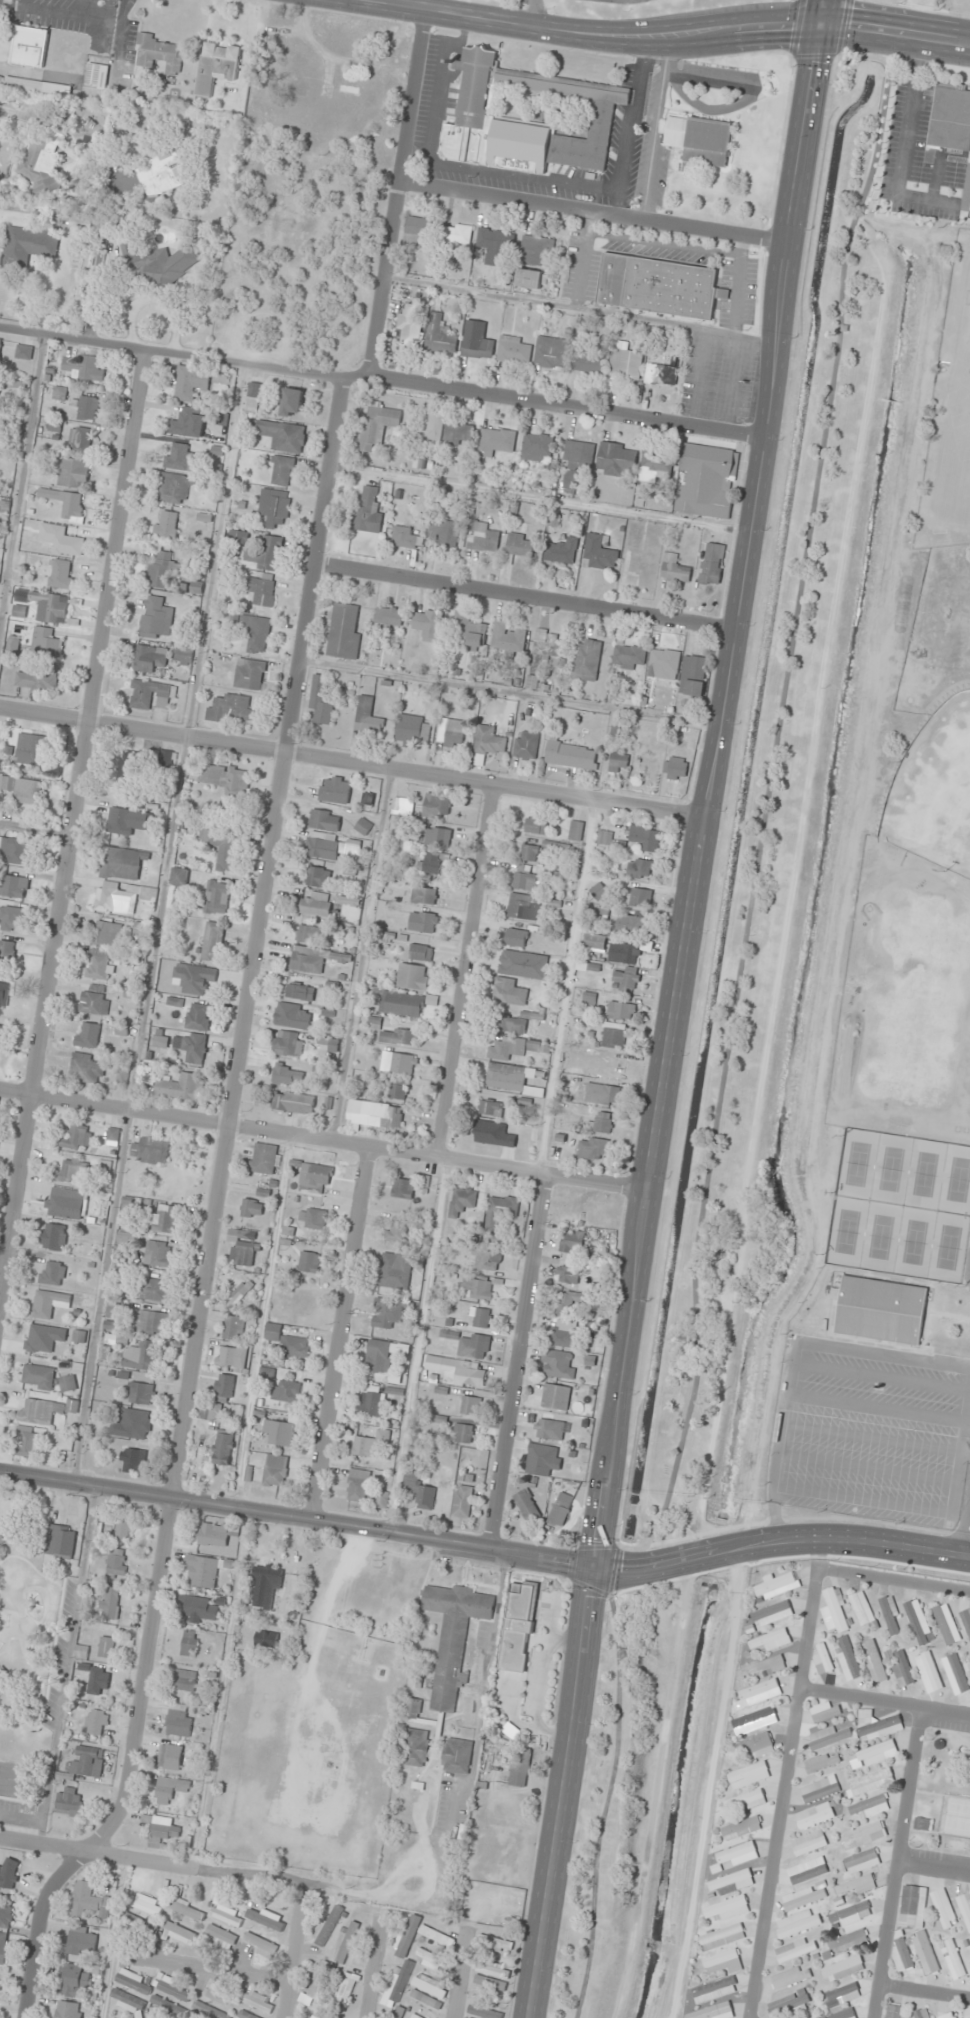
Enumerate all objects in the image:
road: (886, 1)
road: (398, 4)
road: (533, 14)
traffic signals: (819, 28)
road: (842, 29)
road: (657, 39)
building: (30, 48)
building: (158, 54)
road: (867, 57)
building: (217, 66)
building: (97, 75)
building: (950, 117)
building: (529, 118)
building: (699, 141)
building: (42, 171)
building: (164, 172)
road: (398, 196)
road: (596, 214)
building: (417, 233)
building: (457, 235)
building: (28, 246)
building: (496, 246)
building: (537, 251)
building: (161, 262)
building: (529, 279)
building: (658, 286)
building: (410, 327)
building: (440, 336)
building: (477, 341)
building: (0, 344)
building: (515, 349)
building: (24, 352)
building: (551, 352)
building: (587, 362)
building: (626, 364)
building: (86, 368)
building: (661, 374)
road: (383, 381)
building: (192, 382)
building: (60, 394)
building: (253, 397)
building: (292, 403)
building: (89, 407)
building: (189, 423)
building: (378, 425)
building: (459, 432)
building: (283, 436)
building: (81, 440)
building: (498, 441)
building: (537, 447)
building: (179, 457)
building: (575, 459)
building: (617, 459)
building: (657, 467)
building: (282, 471)
building: (74, 473)
road: (21, 475)
building: (706, 481)
building: (174, 488)
building: (67, 503)
building: (274, 508)
building: (368, 511)
building: (554, 518)
building: (167, 524)
building: (445, 533)
building: (405, 537)
building: (483, 538)
building: (62, 542)
building: (521, 545)
building: (270, 553)
building: (600, 553)
building: (711, 564)
building: (675, 568)
building: (164, 570)
building: (61, 574)
building: (262, 591)
road: (526, 594)
building: (52, 607)
building: (390, 617)
building: (156, 619)
building: (428, 624)
building: (468, 630)
building: (344, 631)
building: (256, 633)
building: (507, 640)
building: (46, 642)
building: (547, 649)
building: (182, 656)
building: (630, 657)
building: (150, 659)
building: (587, 660)
building: (665, 661)
building: (250, 674)
building: (36, 681)
building: (692, 681)
building: (150, 695)
building: (321, 702)
building: (230, 708)
building: (368, 716)
building: (414, 729)
building: (452, 733)
building: (490, 741)
building: (527, 745)
building: (32, 750)
building: (573, 755)
building: (167, 759)
building: (619, 762)
road: (353, 764)
building: (675, 768)
building: (127, 769)
building: (226, 778)
road: (711, 784)
building: (22, 790)
building: (335, 791)
park: (934, 791)
building: (369, 798)
road: (765, 803)
building: (404, 804)
building: (437, 806)
building: (325, 820)
building: (126, 821)
road: (73, 823)
building: (536, 825)
building: (577, 831)
road: (35, 833)
building: (439, 838)
building: (646, 838)
building: (607, 839)
building: (324, 846)
building: (223, 849)
building: (14, 850)
building: (530, 853)
building: (121, 863)
building: (433, 863)
building: (640, 869)
building: (180, 877)
building: (319, 878)
building: (525, 880)
building: (14, 887)
building: (599, 892)
building: (425, 896)
building: (217, 898)
building: (641, 898)
building: (126, 899)
building: (350, 901)
building: (316, 904)
building: (521, 906)
building: (11, 919)
building: (424, 922)
road: (157, 924)
building: (632, 924)
building: (107, 933)
building: (311, 935)
building: (517, 938)
building: (213, 941)
building: (595, 944)
building: (7, 953)
building: (422, 953)
building: (624, 954)
building: (315, 960)
building: (524, 965)
building: (100, 968)
road: (469, 971)
building: (413, 976)
building: (195, 978)
building: (627, 979)
building: (509, 992)
building: (4, 993)
building: (301, 993)
building: (94, 1001)
park: (918, 1002)
building: (404, 1005)
building: (622, 1011)
building: (292, 1016)
building: (199, 1018)
building: (509, 1024)
building: (1, 1031)
building: (88, 1035)
building: (398, 1036)
building: (613, 1036)
building: (288, 1044)
building: (191, 1048)
building: (512, 1048)
building: (399, 1063)
building: (85, 1069)
building: (286, 1074)
building: (511, 1079)
building: (178, 1087)
building: (398, 1090)
building: (563, 1093)
building: (602, 1095)
building: (293, 1103)
building: (491, 1108)
building: (375, 1115)
building: (601, 1124)
building: (488, 1133)
building: (113, 1137)
building: (75, 1138)
road: (325, 1140)
building: (594, 1149)
building: (150, 1151)
building: (263, 1159)
building: (104, 1171)
building: (72, 1172)
building: (313, 1177)
building: (403, 1189)
building: (462, 1202)
building: (66, 1204)
park: (900, 1207)
building: (251, 1209)
building: (501, 1210)
road: (214, 1213)
building: (312, 1218)
building: (163, 1222)
building: (396, 1232)
building: (54, 1236)
building: (496, 1241)
building: (572, 1243)
building: (245, 1253)
building: (158, 1254)
building: (486, 1260)
building: (308, 1262)
building: (395, 1271)
building: (968, 1271)
building: (52, 1274)
building: (568, 1274)
building: (239, 1288)
building: (479, 1288)
building: (154, 1291)
building: (49, 1304)
building: (569, 1304)
building: (881, 1310)
building: (479, 1318)
building: (148, 1322)
building: (233, 1328)
road: (342, 1334)
building: (566, 1334)
building: (37, 1338)
building: (286, 1342)
road: (810, 1344)
building: (473, 1346)
building: (141, 1356)
building: (377, 1356)
building: (233, 1358)
road: (522, 1364)
building: (558, 1365)
building: (463, 1374)
road: (878, 1378)
building: (47, 1380)
building: (223, 1388)
building: (285, 1391)
building: (140, 1394)
building: (556, 1397)
building: (370, 1400)
building: (470, 1406)
road: (874, 1408)
building: (42, 1411)
building: (211, 1412)
building: (131, 1425)
building: (549, 1430)
parking lot: (869, 1431)
building: (279, 1432)
building: (463, 1434)
road: (870, 1438)
building: (27, 1443)
building: (363, 1447)
building: (222, 1449)
building: (134, 1460)
building: (542, 1461)
building: (275, 1470)
road: (865, 1470)
building: (358, 1486)
building: (381, 1499)
building: (426, 1499)
building: (462, 1502)
building: (526, 1506)
road: (925, 1510)
building: (559, 1514)
road: (297, 1518)
road: (965, 1522)
building: (122, 1531)
building: (216, 1535)
building: (61, 1541)
road: (781, 1541)
road: (640, 1548)
building: (116, 1565)
traffic signals: (594, 1568)
building: (202, 1571)
road: (613, 1571)
road: (895, 1581)
building: (265, 1585)
building: (776, 1586)
building: (109, 1605)
building: (200, 1607)
building: (863, 1611)
building: (835, 1612)
building: (772, 1614)
building: (891, 1616)
building: (966, 1621)
building: (918, 1622)
building: (946, 1624)
building: (519, 1625)
building: (453, 1636)
building: (266, 1639)
building: (771, 1641)
building: (189, 1644)
building: (106, 1648)
park: (31, 1657)
building: (821, 1659)
building: (848, 1659)
building: (876, 1664)
building: (766, 1667)
building: (968, 1667)
building: (902, 1670)
building: (928, 1673)
building: (955, 1674)
building: (184, 1681)
building: (758, 1694)
road: (886, 1702)
building: (413, 1709)
building: (825, 1712)
building: (178, 1721)
building: (756, 1722)
building: (95, 1723)
building: (877, 1725)
building: (827, 1738)
building: (758, 1746)
building: (414, 1748)
building: (876, 1754)
building: (456, 1756)
building: (171, 1757)
building: (86, 1762)
building: (821, 1763)
building: (519, 1767)
building: (749, 1776)
building: (869, 1783)
building: (168, 1790)
building: (819, 1790)
road: (561, 1793)
road: (785, 1794)
building: (744, 1801)
building: (68, 1803)
building: (870, 1807)
road: (603, 1808)
building: (815, 1815)
building: (923, 1824)
building: (740, 1828)
building: (160, 1830)
building: (863, 1836)
building: (808, 1843)
road: (101, 1854)
building: (736, 1855)
building: (859, 1863)
road: (900, 1863)
road: (935, 1867)
building: (807, 1871)
building: (8, 1874)
building: (732, 1883)
building: (855, 1886)
building: (803, 1897)
building: (88, 1900)
building: (146, 1904)
building: (913, 1907)
building: (943, 1908)
building: (727, 1909)
building: (187, 1910)
building: (965, 1910)
building: (850, 1914)
building: (5, 1915)
building: (226, 1915)
building: (265, 1917)
building: (139, 1923)
building: (798, 1924)
building: (328, 1925)
building: (408, 1932)
building: (178, 1934)
building: (220, 1937)
building: (437, 1937)
building: (721, 1937)
building: (82, 1939)
building: (848, 1942)
building: (347, 1943)
building: (495, 1944)
building: (260, 1946)
building: (3, 1948)
building: (795, 1950)
building: (925, 1953)
building: (901, 1954)
building: (953, 1959)
road: (293, 1960)
building: (435, 1962)
building: (969, 1962)
building: (722, 1963)
road: (208, 1969)
building: (493, 1969)
building: (842, 1969)
road: (375, 1970)
road: (460, 1976)
building: (790, 1978)
building: (0, 1979)
building: (75, 1980)
building: (131, 1981)
building: (313, 1983)
building: (489, 1983)
building: (429, 1987)
building: (173, 1989)
building: (396, 1990)
building: (715, 1990)
road: (924, 1992)
building: (217, 1995)
building: (841, 1995)
building: (425, 2000)
building: (127, 2001)
building: (257, 2001)
building: (788, 2003)
building: (68, 2010)
building: (208, 2010)
building: (484, 2012)
building: (714, 2012)
building: (894, 2012)
building: (921, 2013)
building: (844, 2014)
building: (245, 2015)
building: (309, 2016)
building: (415, 2016)
building: (947, 2016)

